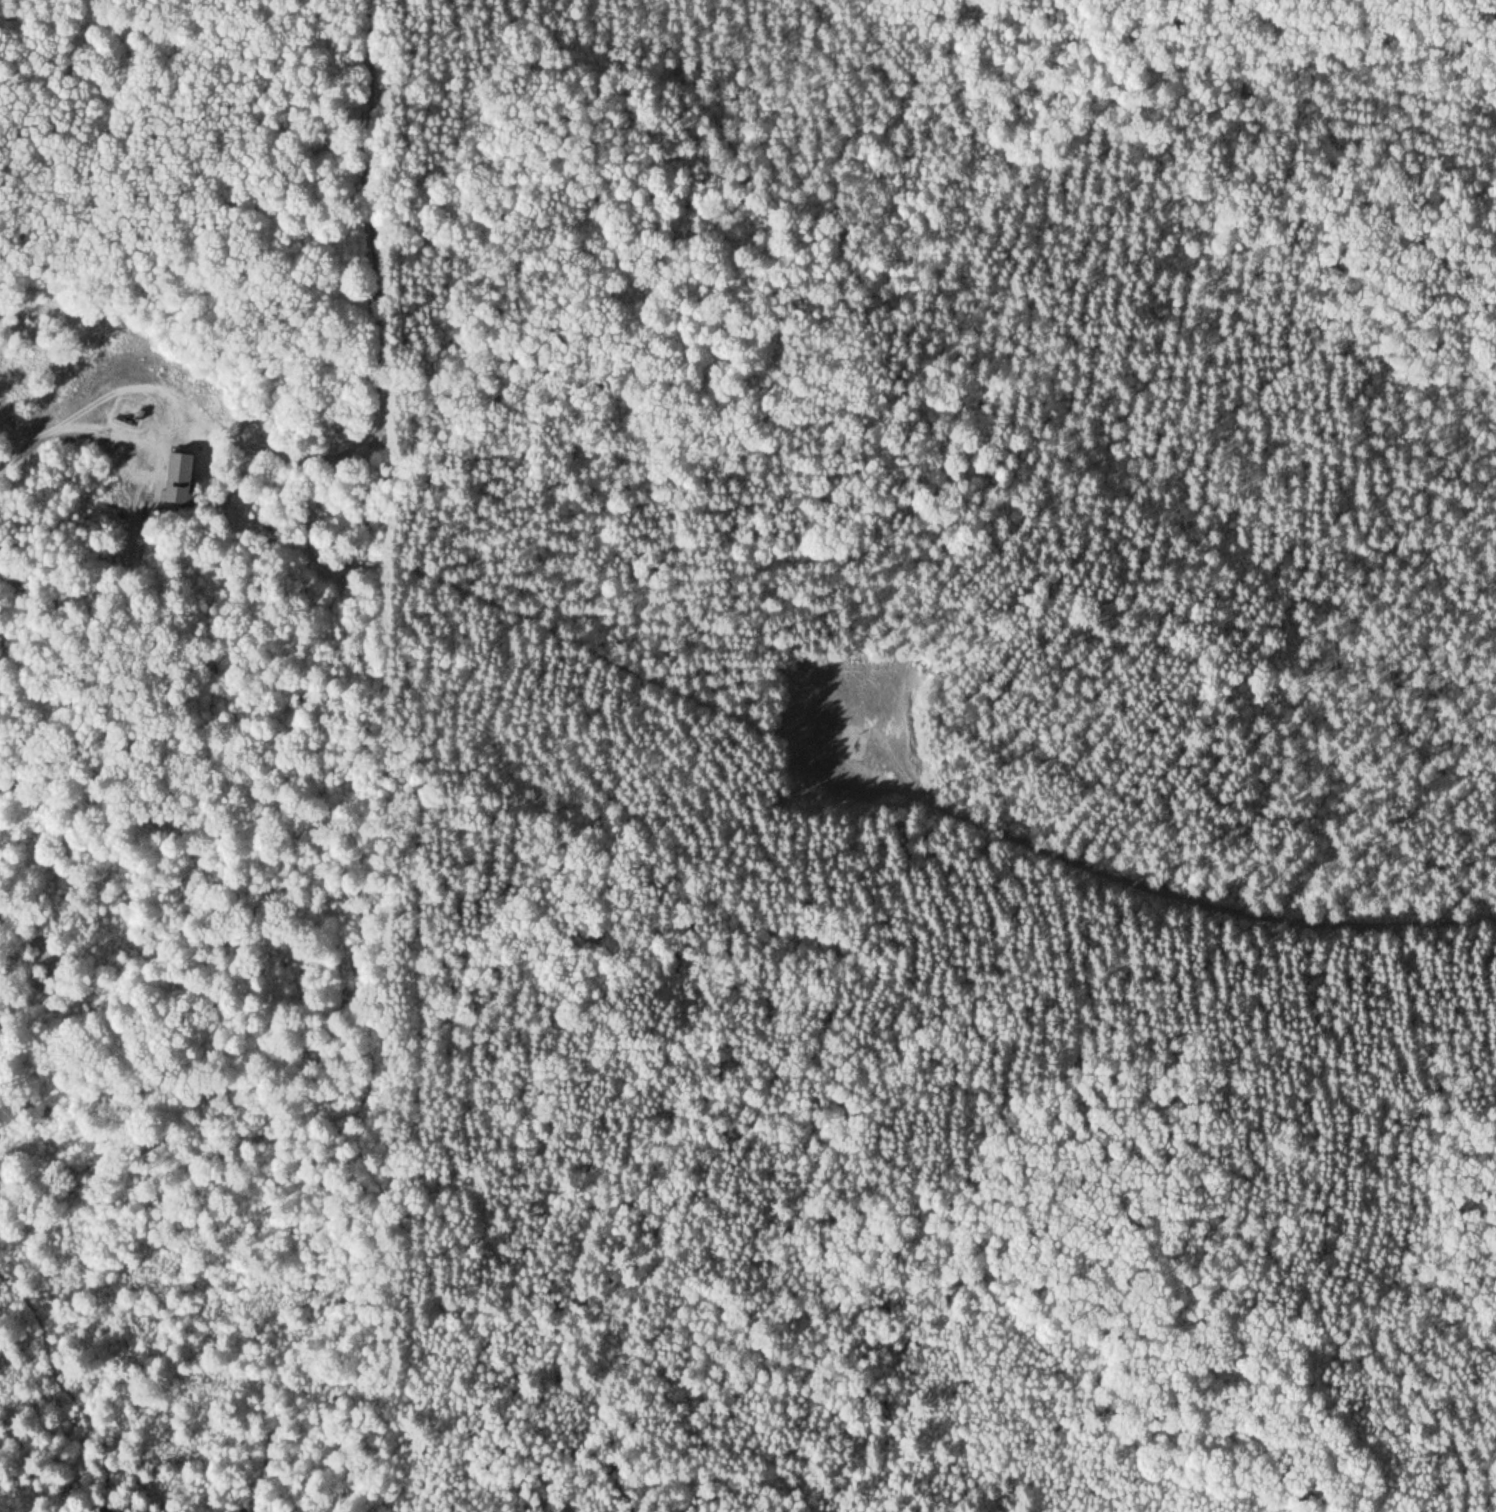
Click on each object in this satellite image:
road: (164, 413)
petroleum well: (122, 418)
road: (35, 443)
building: (174, 476)
road: (844, 739)
petroleum well: (855, 746)
road: (1194, 902)

